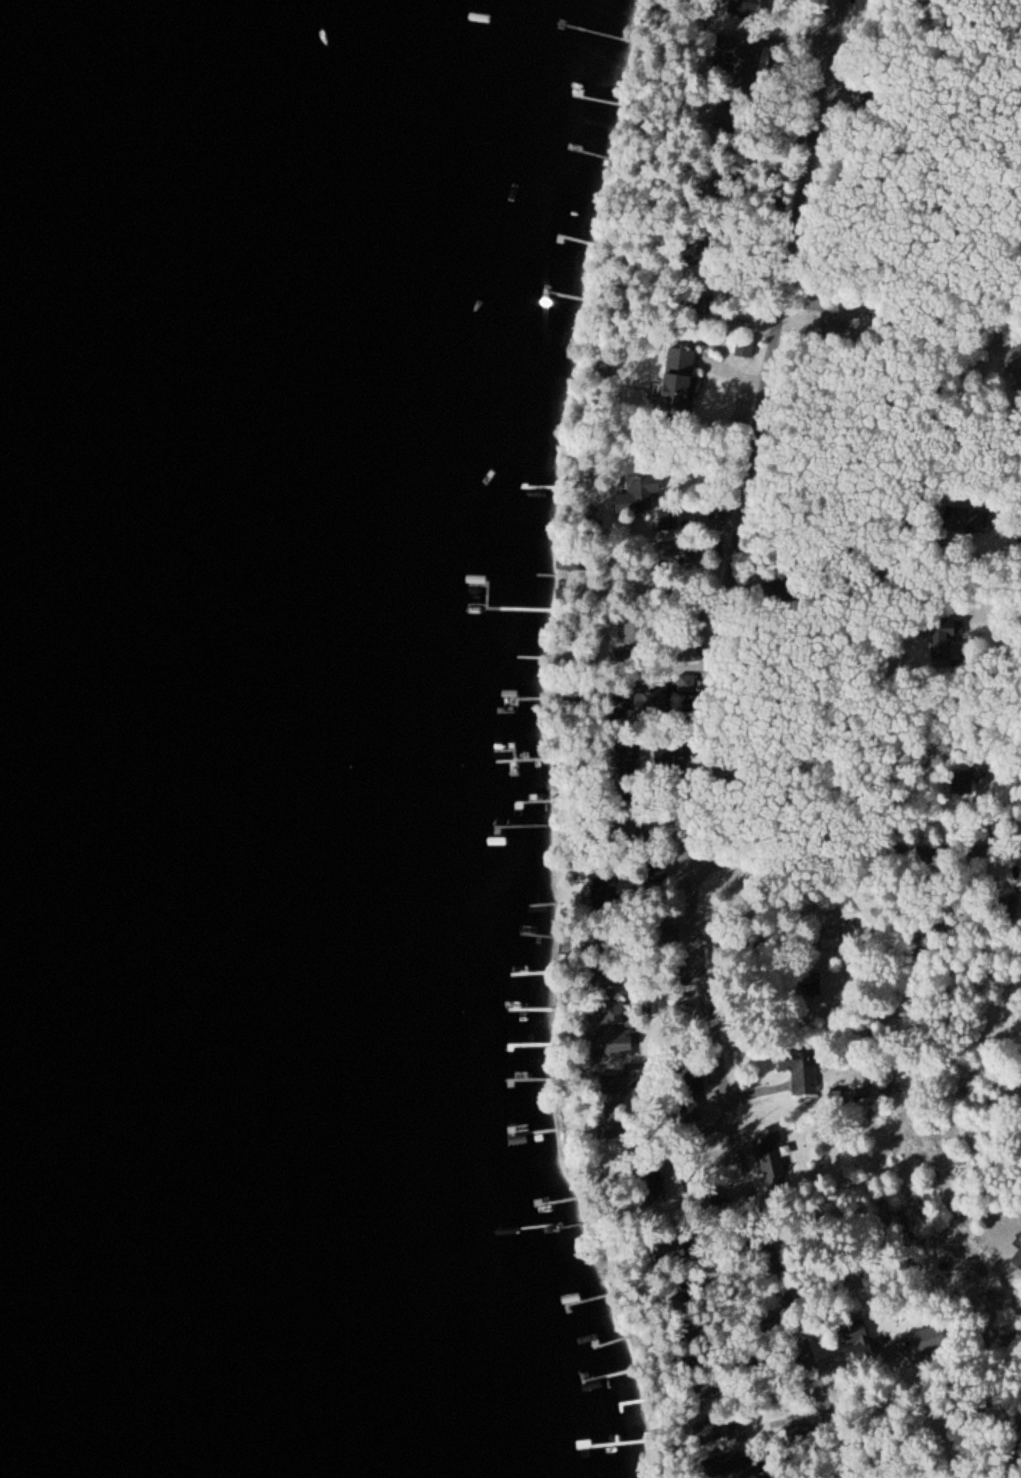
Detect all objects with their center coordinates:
building: (746, 9)
building: (737, 52)
building: (816, 305)
building: (842, 319)
building: (746, 350)
building: (681, 381)
building: (639, 495)
building: (669, 518)
building: (969, 519)
building: (949, 639)
building: (653, 701)
road: (693, 742)
building: (633, 753)
building: (529, 806)
building: (632, 832)
road: (850, 853)
building: (1006, 907)
building: (834, 930)
building: (670, 937)
building: (609, 1010)
building: (615, 1043)
building: (802, 1073)
building: (695, 1081)
building: (616, 1085)
building: (691, 1110)
building: (773, 1156)
building: (1018, 1259)
building: (860, 1340)
building: (921, 1343)
building: (713, 1431)
building: (732, 1463)

